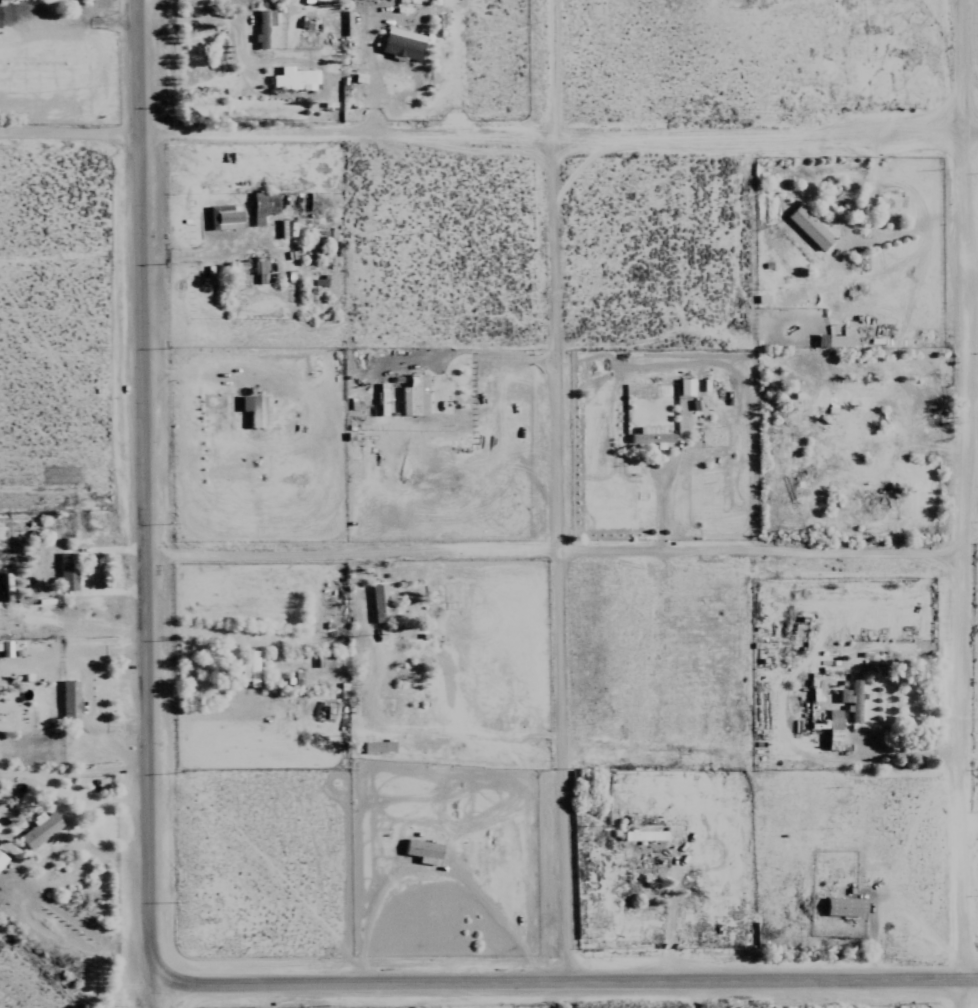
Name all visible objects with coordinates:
road: (74, 23)
road: (488, 138)
road: (142, 491)
road: (966, 504)
road: (560, 560)
road: (555, 561)
building: (65, 571)
building: (323, 663)
building: (67, 699)
building: (376, 747)
road: (914, 750)
building: (419, 849)
building: (0, 858)
road: (433, 869)
road: (76, 922)
road: (564, 981)
road: (150, 995)

